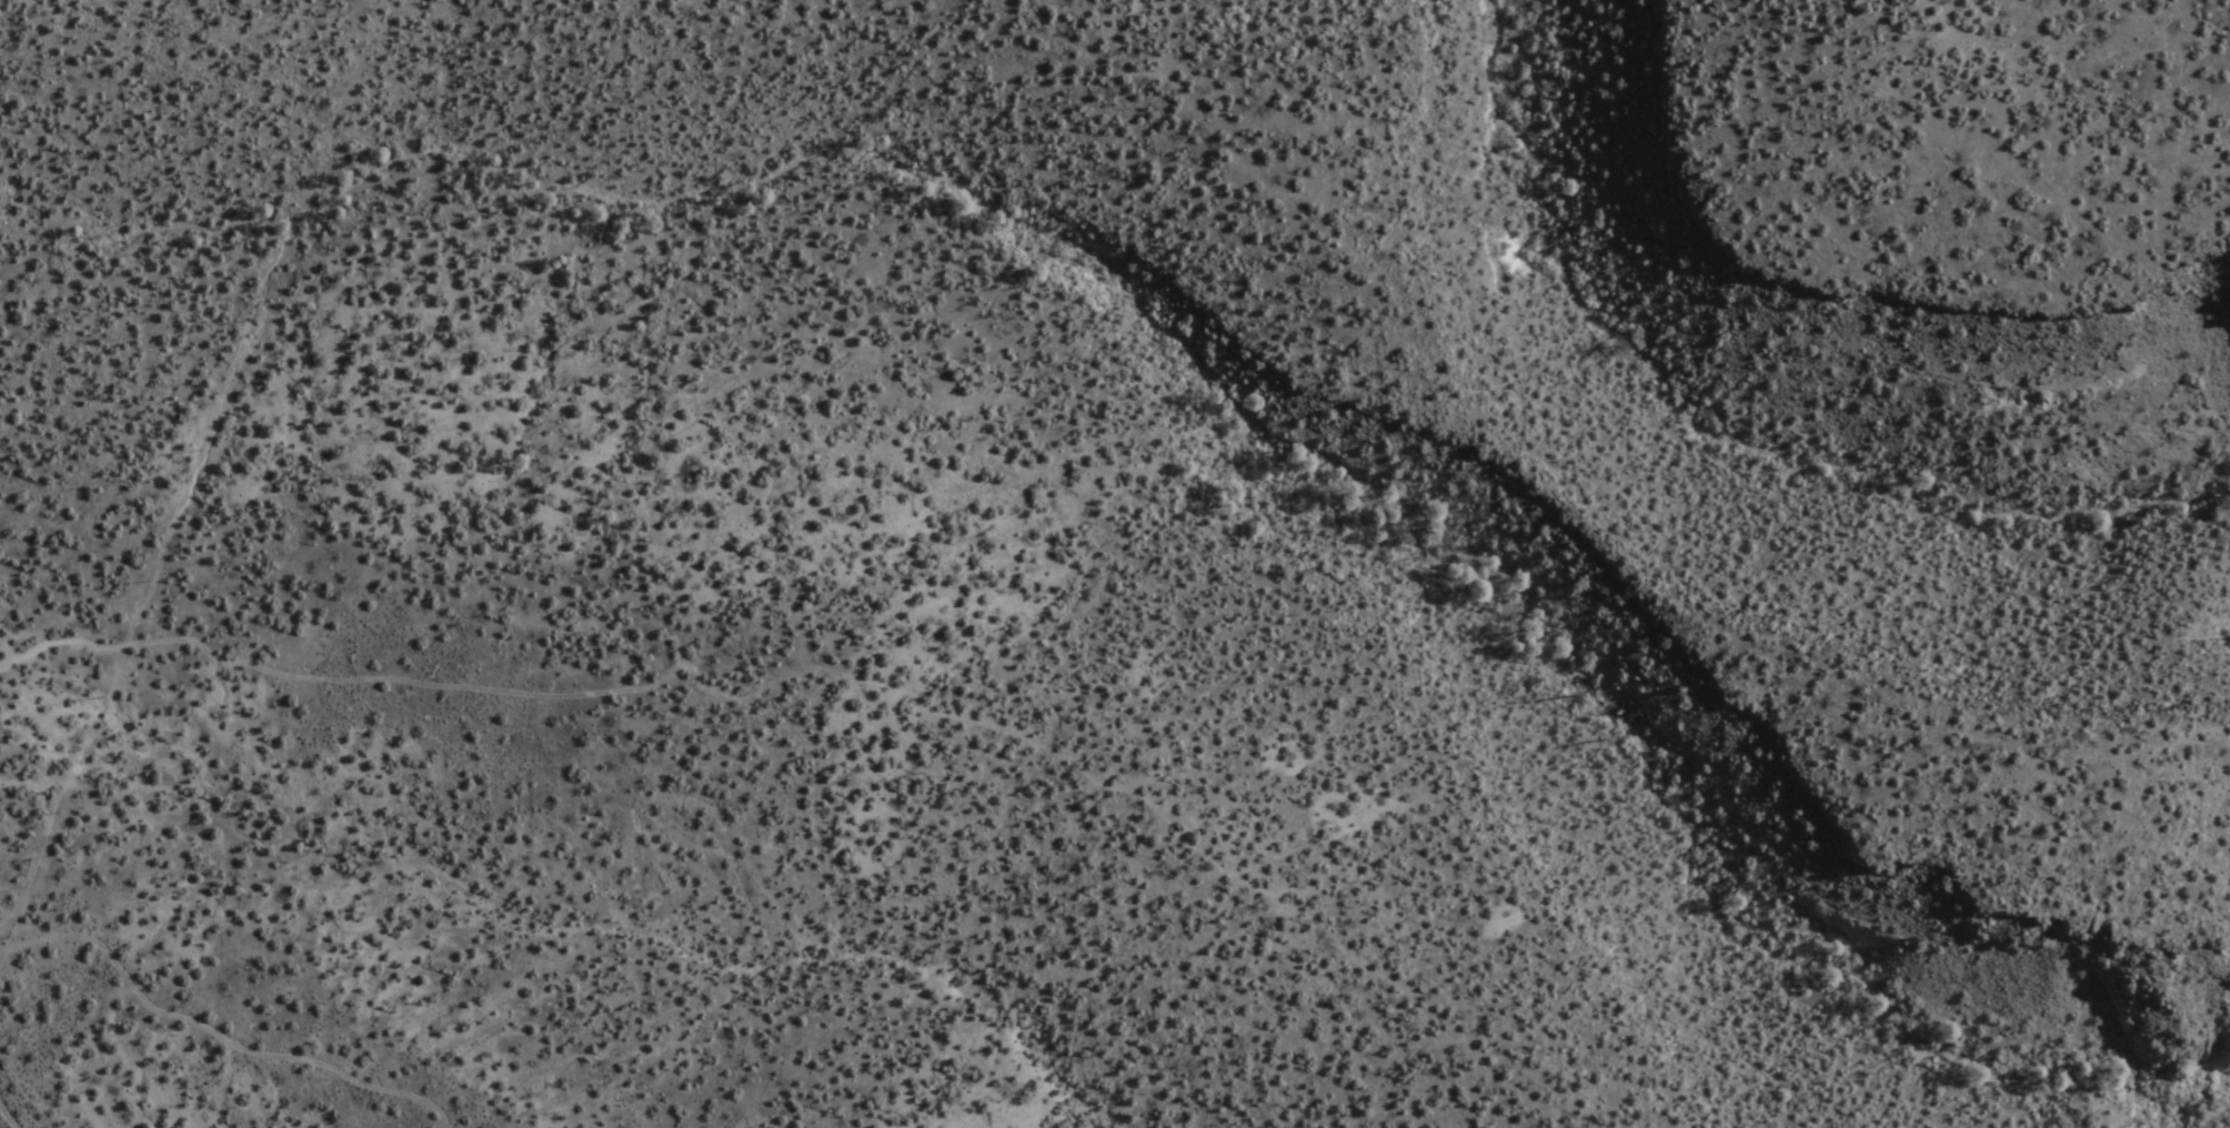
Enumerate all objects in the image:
road: (1573, 501)
road: (862, 699)
road: (210, 1005)

